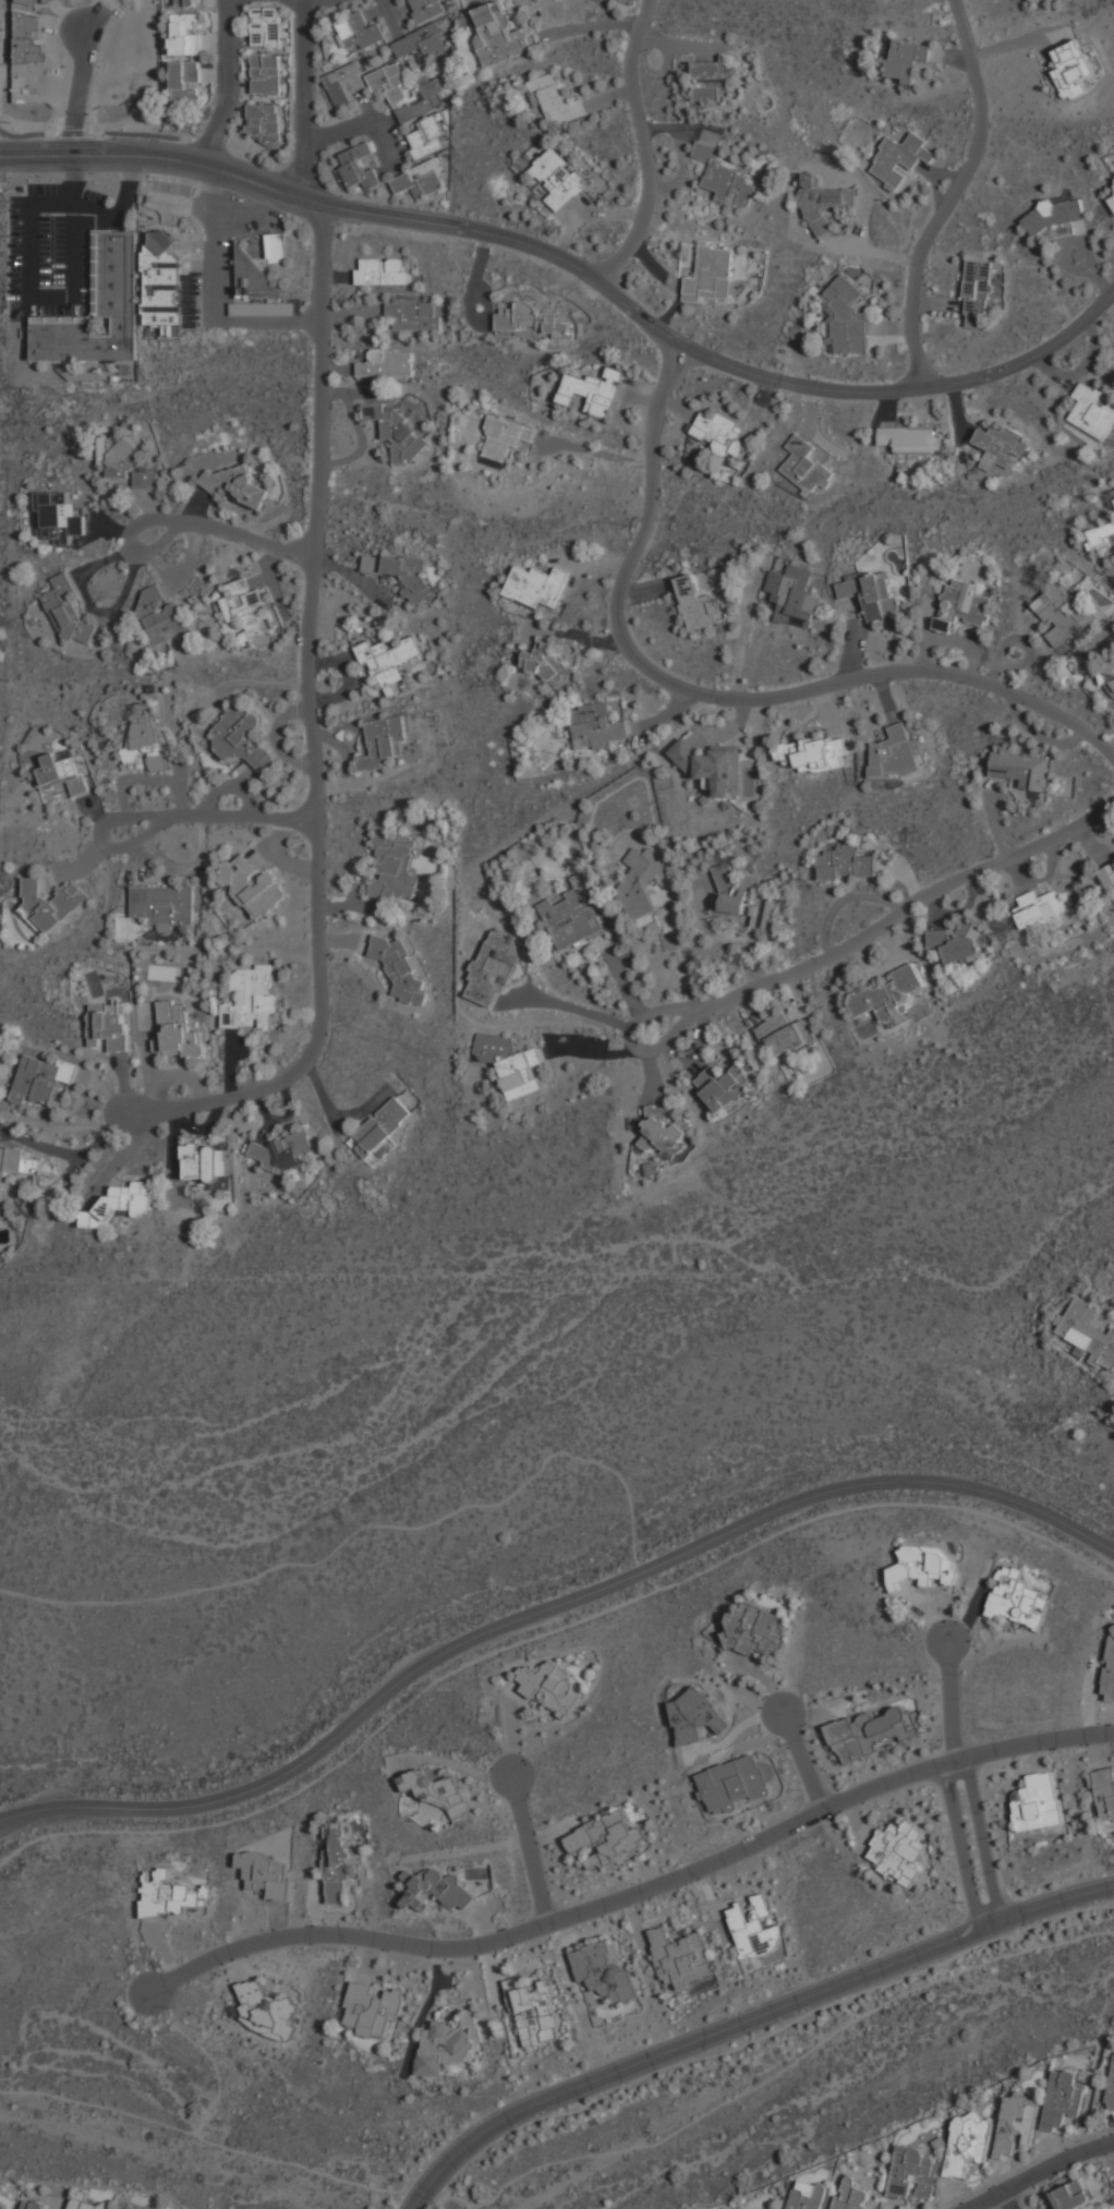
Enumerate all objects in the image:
building: (187, 2)
road: (310, 3)
road: (389, 7)
building: (425, 9)
road: (616, 15)
building: (267, 26)
building: (359, 32)
building: (185, 33)
building: (496, 34)
building: (420, 43)
building: (906, 58)
building: (1071, 69)
building: (265, 74)
building: (186, 80)
building: (710, 80)
building: (388, 82)
road: (229, 83)
building: (343, 84)
road: (304, 98)
building: (422, 100)
building: (554, 100)
road: (360, 120)
building: (264, 122)
building: (425, 137)
road: (643, 145)
road: (61, 155)
building: (899, 158)
building: (358, 167)
building: (419, 180)
building: (557, 180)
building: (726, 180)
road: (954, 193)
building: (823, 203)
road: (73, 204)
building: (1113, 206)
building: (1054, 214)
road: (324, 233)
road: (862, 253)
building: (383, 270)
building: (711, 275)
building: (259, 282)
building: (977, 287)
building: (164, 289)
road: (627, 303)
road: (936, 304)
building: (97, 310)
building: (414, 315)
building: (518, 317)
building: (846, 318)
building: (974, 321)
building: (555, 324)
building: (386, 363)
building: (591, 393)
building: (1092, 412)
building: (721, 428)
building: (396, 431)
building: (911, 438)
building: (500, 439)
building: (998, 445)
building: (116, 456)
building: (806, 467)
building: (144, 480)
building: (235, 484)
building: (57, 517)
road: (232, 522)
building: (1101, 533)
building: (400, 572)
building: (535, 586)
building: (871, 593)
building: (792, 596)
building: (967, 600)
building: (148, 601)
building: (697, 605)
building: (66, 609)
building: (247, 609)
building: (1061, 612)
building: (167, 623)
building: (388, 659)
building: (550, 666)
building: (1110, 673)
road: (715, 690)
building: (596, 726)
building: (146, 736)
building: (242, 737)
building: (382, 741)
road: (325, 753)
building: (814, 753)
building: (896, 753)
building: (709, 765)
building: (1021, 770)
building: (60, 772)
road: (240, 811)
road: (99, 836)
building: (845, 865)
building: (395, 867)
building: (1106, 873)
building: (640, 885)
building: (253, 886)
building: (49, 903)
building: (162, 903)
building: (750, 904)
road: (906, 904)
building: (1041, 906)
building: (572, 916)
building: (646, 921)
building: (956, 942)
building: (493, 966)
building: (398, 967)
building: (887, 995)
building: (252, 1000)
building: (108, 1026)
building: (177, 1029)
building: (784, 1035)
road: (630, 1042)
building: (511, 1064)
building: (41, 1078)
building: (723, 1086)
building: (380, 1128)
building: (664, 1132)
building: (284, 1150)
building: (205, 1161)
building: (29, 1166)
building: (120, 1203)
building: (32, 1204)
building: (1088, 1332)
park: (372, 1484)
building: (922, 1565)
building: (1017, 1598)
road: (547, 1608)
building: (754, 1630)
road: (544, 1633)
building: (1110, 1666)
road: (949, 1683)
building: (549, 1688)
building: (691, 1716)
building: (869, 1733)
road: (804, 1761)
building: (735, 1783)
building: (438, 1791)
building: (1103, 1792)
building: (1037, 1802)
road: (978, 1825)
road: (959, 1832)
building: (606, 1840)
road: (530, 1849)
building: (898, 1851)
building: (340, 1864)
building: (267, 1873)
building: (437, 1888)
road: (634, 1893)
road: (1003, 1893)
building: (168, 1894)
building: (754, 1931)
building: (680, 1957)
building: (603, 1972)
building: (267, 2008)
building: (373, 2008)
building: (534, 2012)
road: (744, 2020)
building: (448, 2044)
road: (713, 2056)
building: (1112, 2093)
building: (1062, 2100)
building: (1016, 2124)
building: (968, 2144)
road: (568, 2159)
building: (913, 2174)
road: (1043, 2174)
building: (1073, 2195)
building: (850, 2196)
building: (806, 2198)
building: (86, 2201)
road: (1007, 2201)
building: (31, 2204)
building: (124, 2207)
building: (1, 2208)

